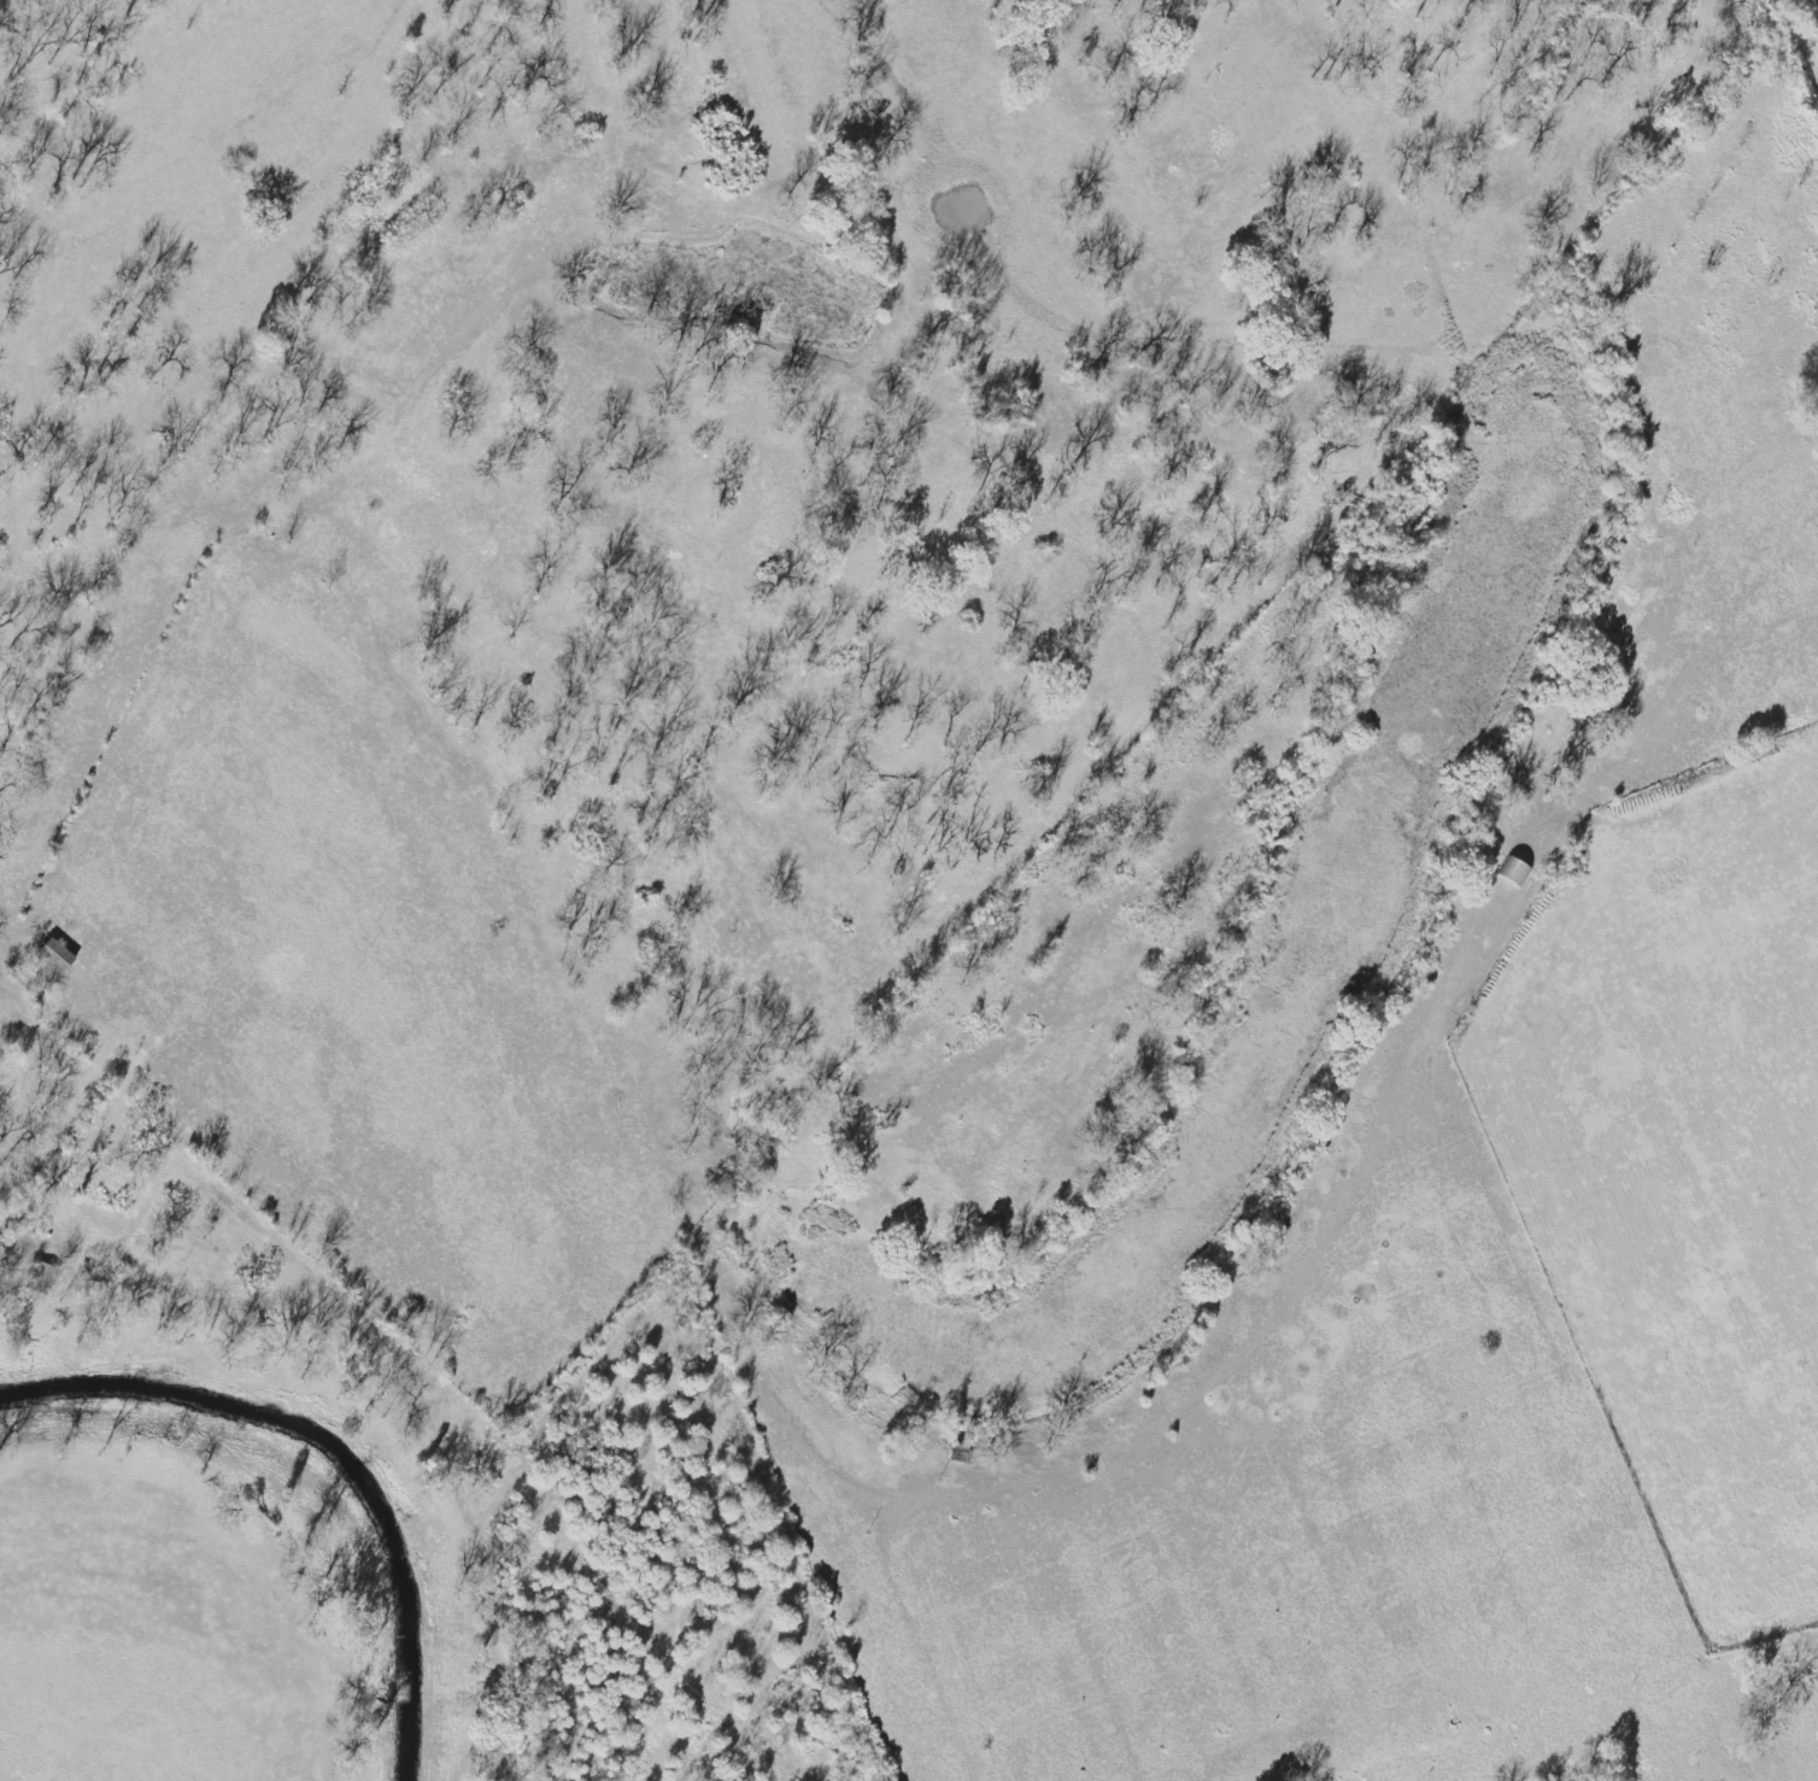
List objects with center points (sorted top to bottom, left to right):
building: (1517, 873)
building: (52, 962)
building: (43, 1279)
building: (87, 1283)
road: (428, 1419)
river: (339, 1447)
building: (960, 1452)

